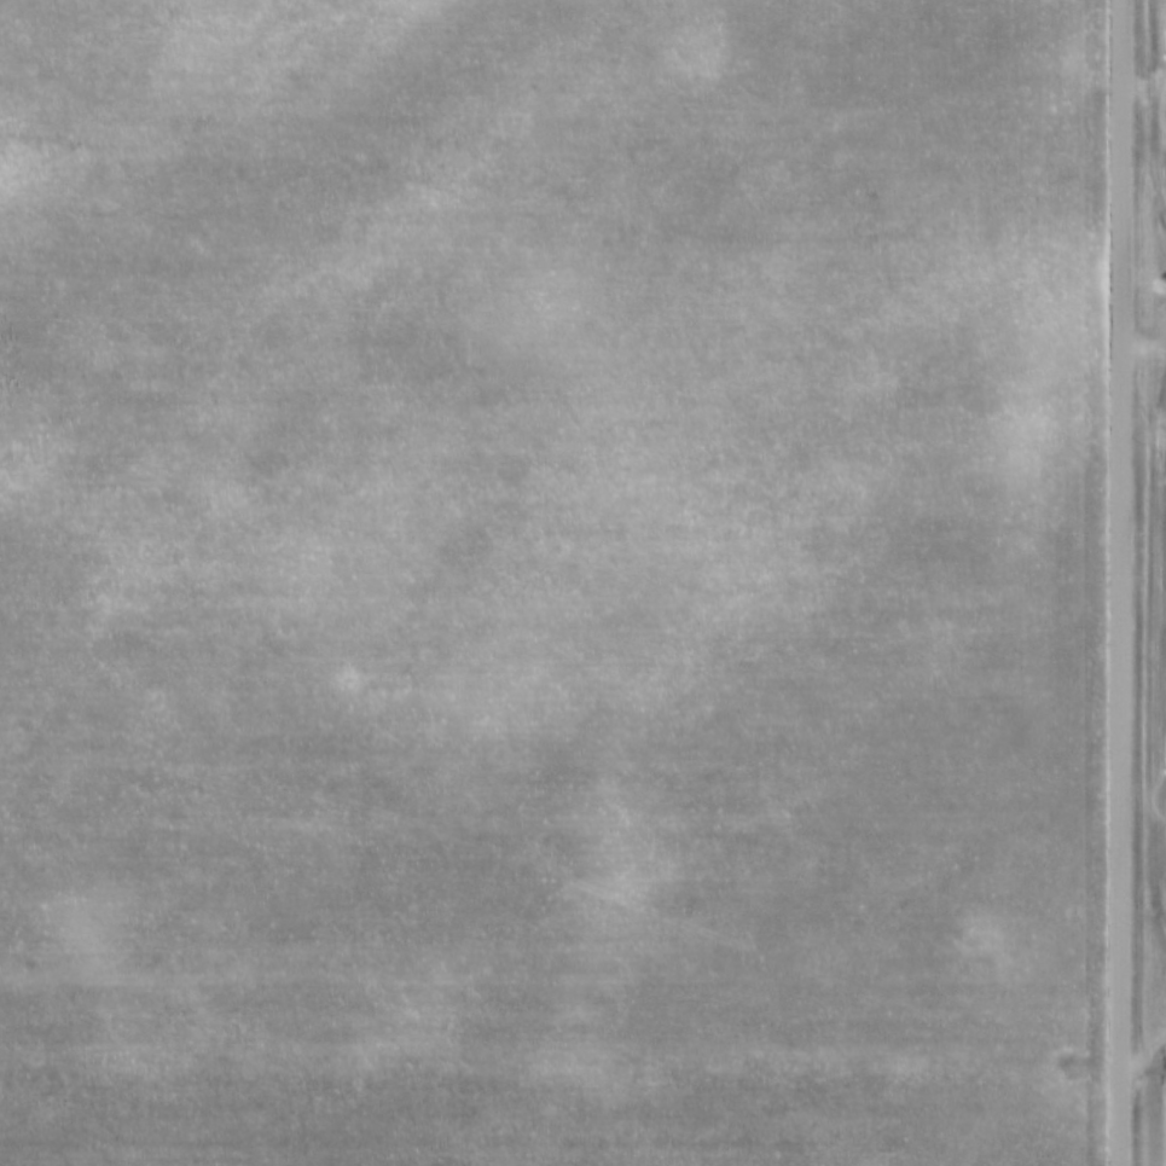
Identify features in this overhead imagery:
road: (1123, 582)

